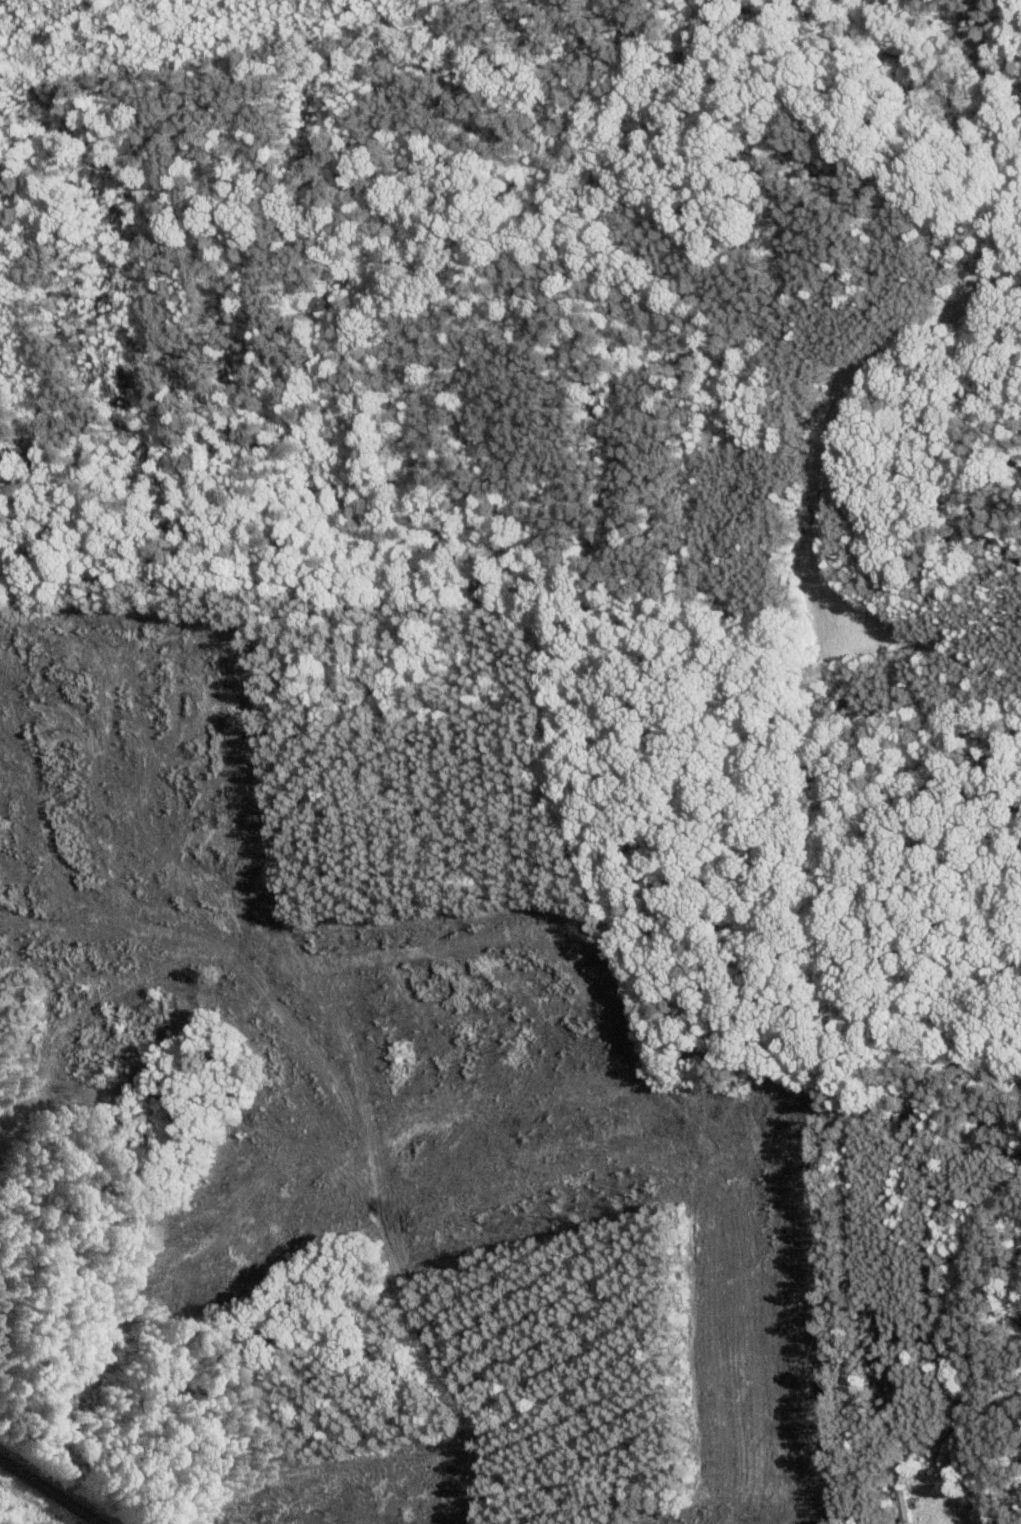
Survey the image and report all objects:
road: (52, 1490)

